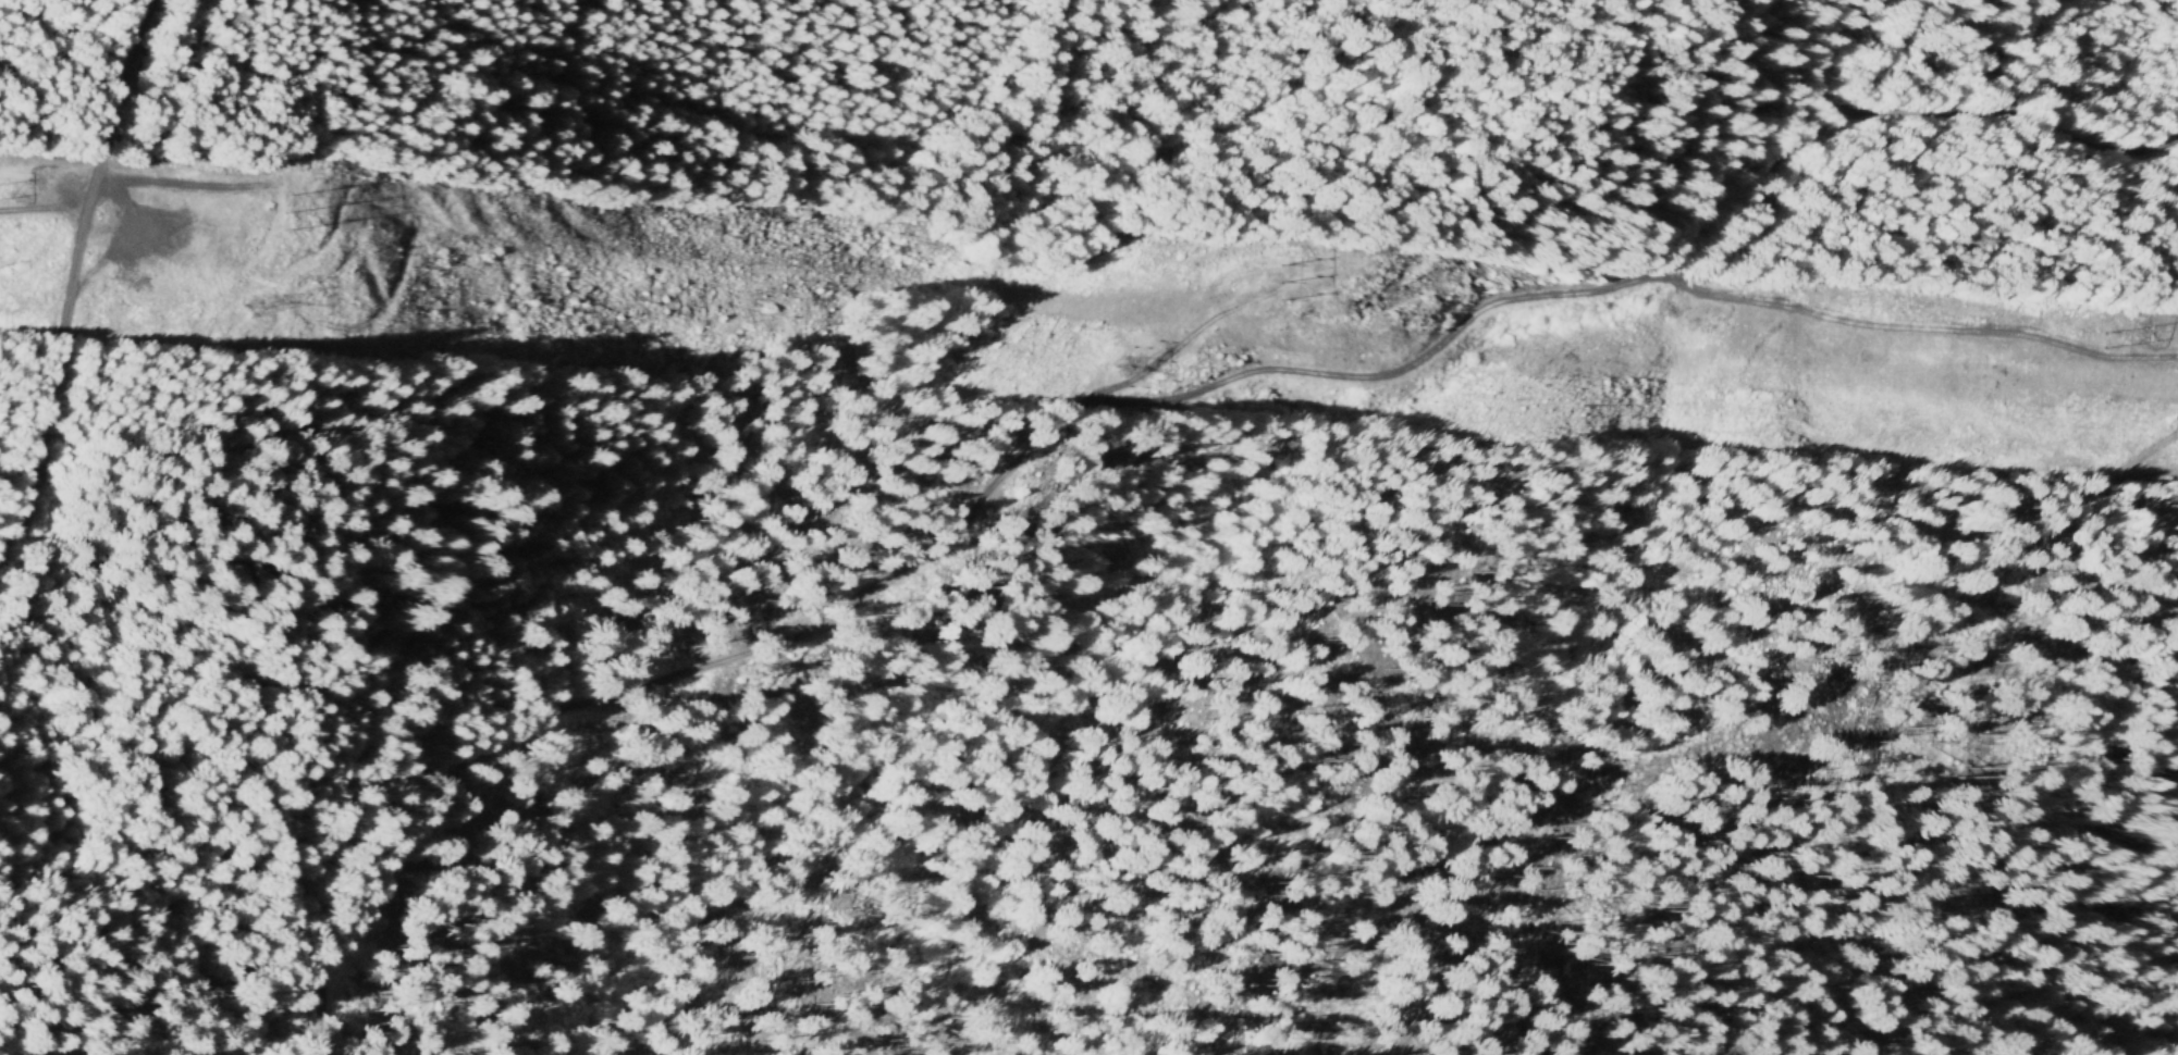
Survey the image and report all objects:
road: (1897, 191)
power tower: (287, 214)
power tower: (1285, 284)
road: (72, 298)
power tower: (2112, 342)

